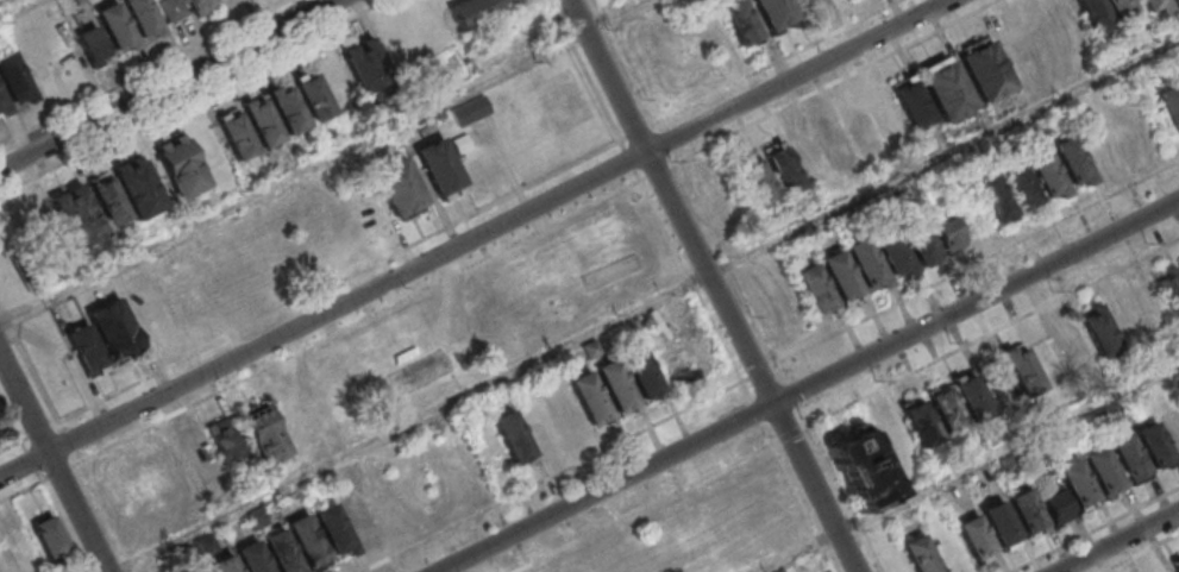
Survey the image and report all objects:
building: (1172, 0)
building: (814, 4)
building: (1156, 5)
road: (17, 8)
building: (1120, 8)
building: (183, 10)
building: (476, 10)
building: (774, 13)
building: (1096, 17)
building: (142, 18)
building: (739, 21)
building: (115, 29)
building: (92, 45)
building: (1012, 50)
building: (366, 62)
building: (984, 68)
road: (146, 73)
building: (13, 77)
road: (170, 86)
building: (946, 87)
road: (721, 92)
road: (821, 92)
building: (313, 96)
road: (195, 98)
building: (911, 105)
building: (1169, 106)
building: (2, 108)
building: (287, 109)
building: (471, 113)
building: (885, 115)
building: (261, 122)
building: (861, 130)
building: (236, 134)
building: (835, 143)
building: (462, 145)
road: (632, 161)
road: (321, 162)
building: (1072, 162)
building: (180, 166)
building: (782, 166)
building: (439, 169)
building: (1046, 174)
building: (757, 181)
building: (1020, 184)
building: (397, 186)
building: (995, 197)
building: (107, 200)
building: (75, 216)
building: (948, 234)
building: (918, 238)
road: (476, 239)
road: (410, 246)
building: (891, 251)
building: (1178, 258)
building: (866, 263)
building: (840, 275)
road: (715, 285)
building: (814, 289)
building: (1168, 289)
road: (650, 303)
building: (113, 327)
building: (1098, 329)
road: (340, 333)
building: (1071, 342)
building: (84, 348)
building: (684, 364)
road: (770, 364)
building: (1022, 369)
building: (641, 373)
road: (810, 385)
building: (615, 386)
building: (971, 395)
building: (589, 400)
road: (848, 403)
road: (50, 404)
building: (946, 408)
building: (920, 422)
building: (1172, 426)
building: (265, 438)
building: (512, 439)
building: (225, 444)
building: (1155, 447)
building: (200, 457)
building: (1130, 459)
road: (54, 460)
road: (968, 465)
building: (863, 469)
building: (1104, 472)
road: (42, 479)
building: (1079, 485)
building: (1056, 507)
road: (805, 508)
building: (1028, 514)
building: (258, 520)
building: (359, 521)
building: (1002, 526)
road: (1098, 532)
building: (334, 533)
building: (49, 539)
building: (977, 540)
road: (1118, 541)
building: (307, 543)
building: (20, 547)
building: (281, 553)
road: (1142, 553)
building: (921, 555)
building: (252, 559)
building: (224, 565)
building: (1177, 568)
building: (203, 571)
building: (559, 571)

